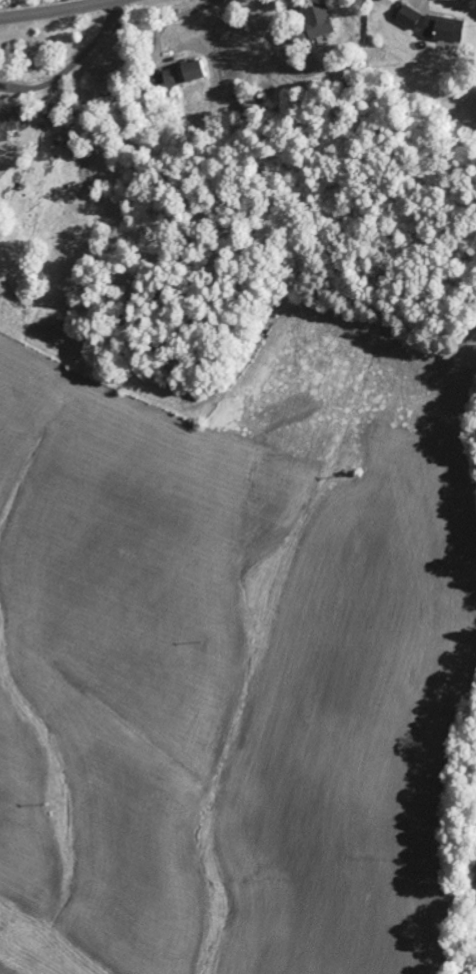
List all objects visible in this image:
road: (55, 10)
building: (413, 17)
building: (317, 24)
building: (448, 29)
building: (189, 74)
building: (13, 123)

